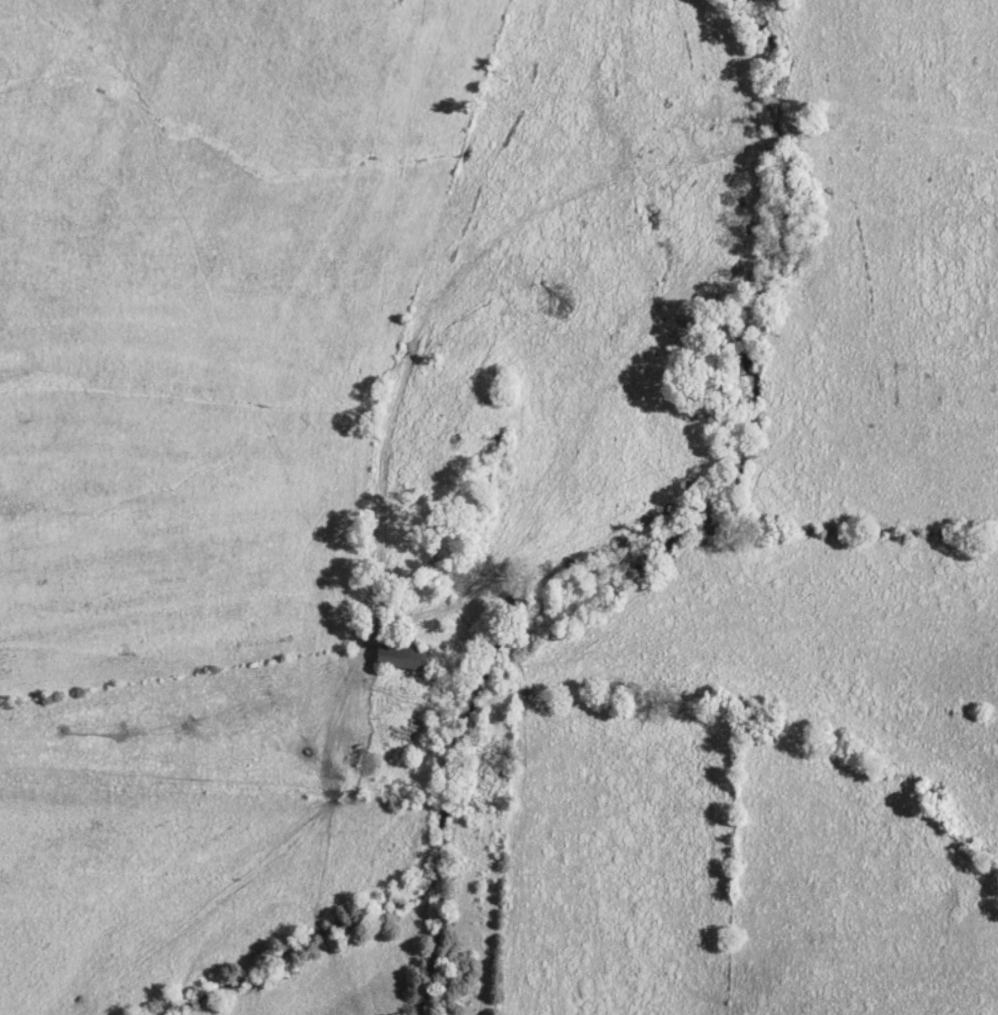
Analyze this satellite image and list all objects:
building: (392, 657)
road: (174, 680)

